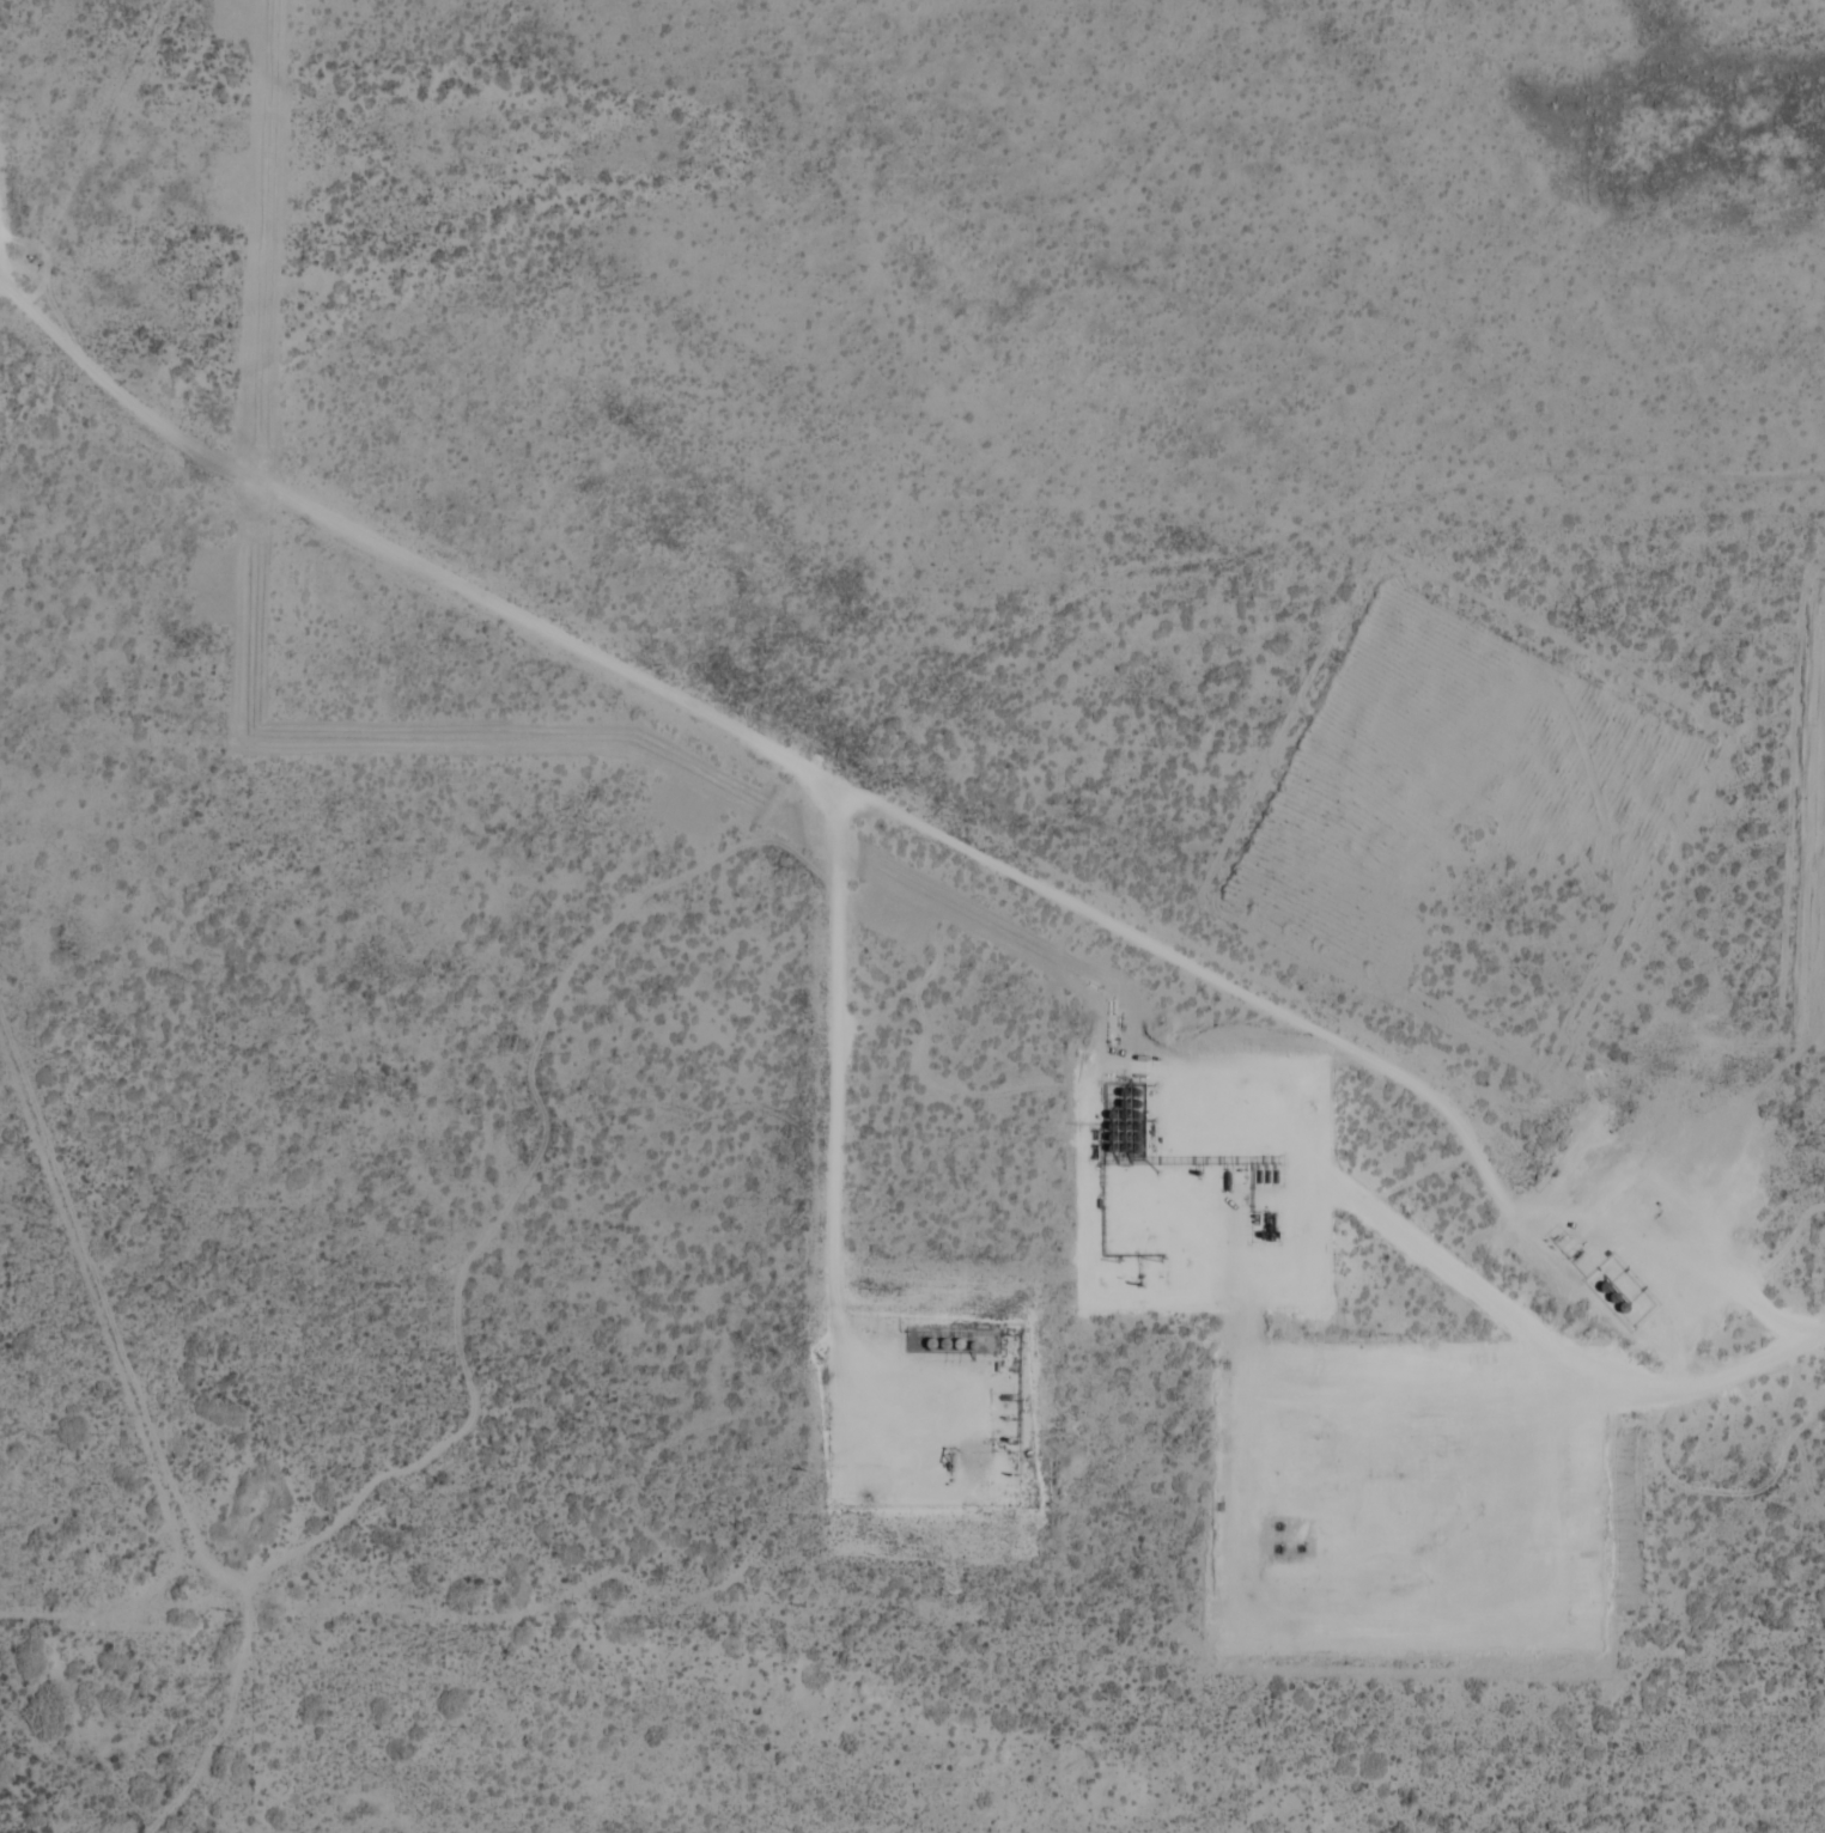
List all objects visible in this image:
road: (938, 966)

